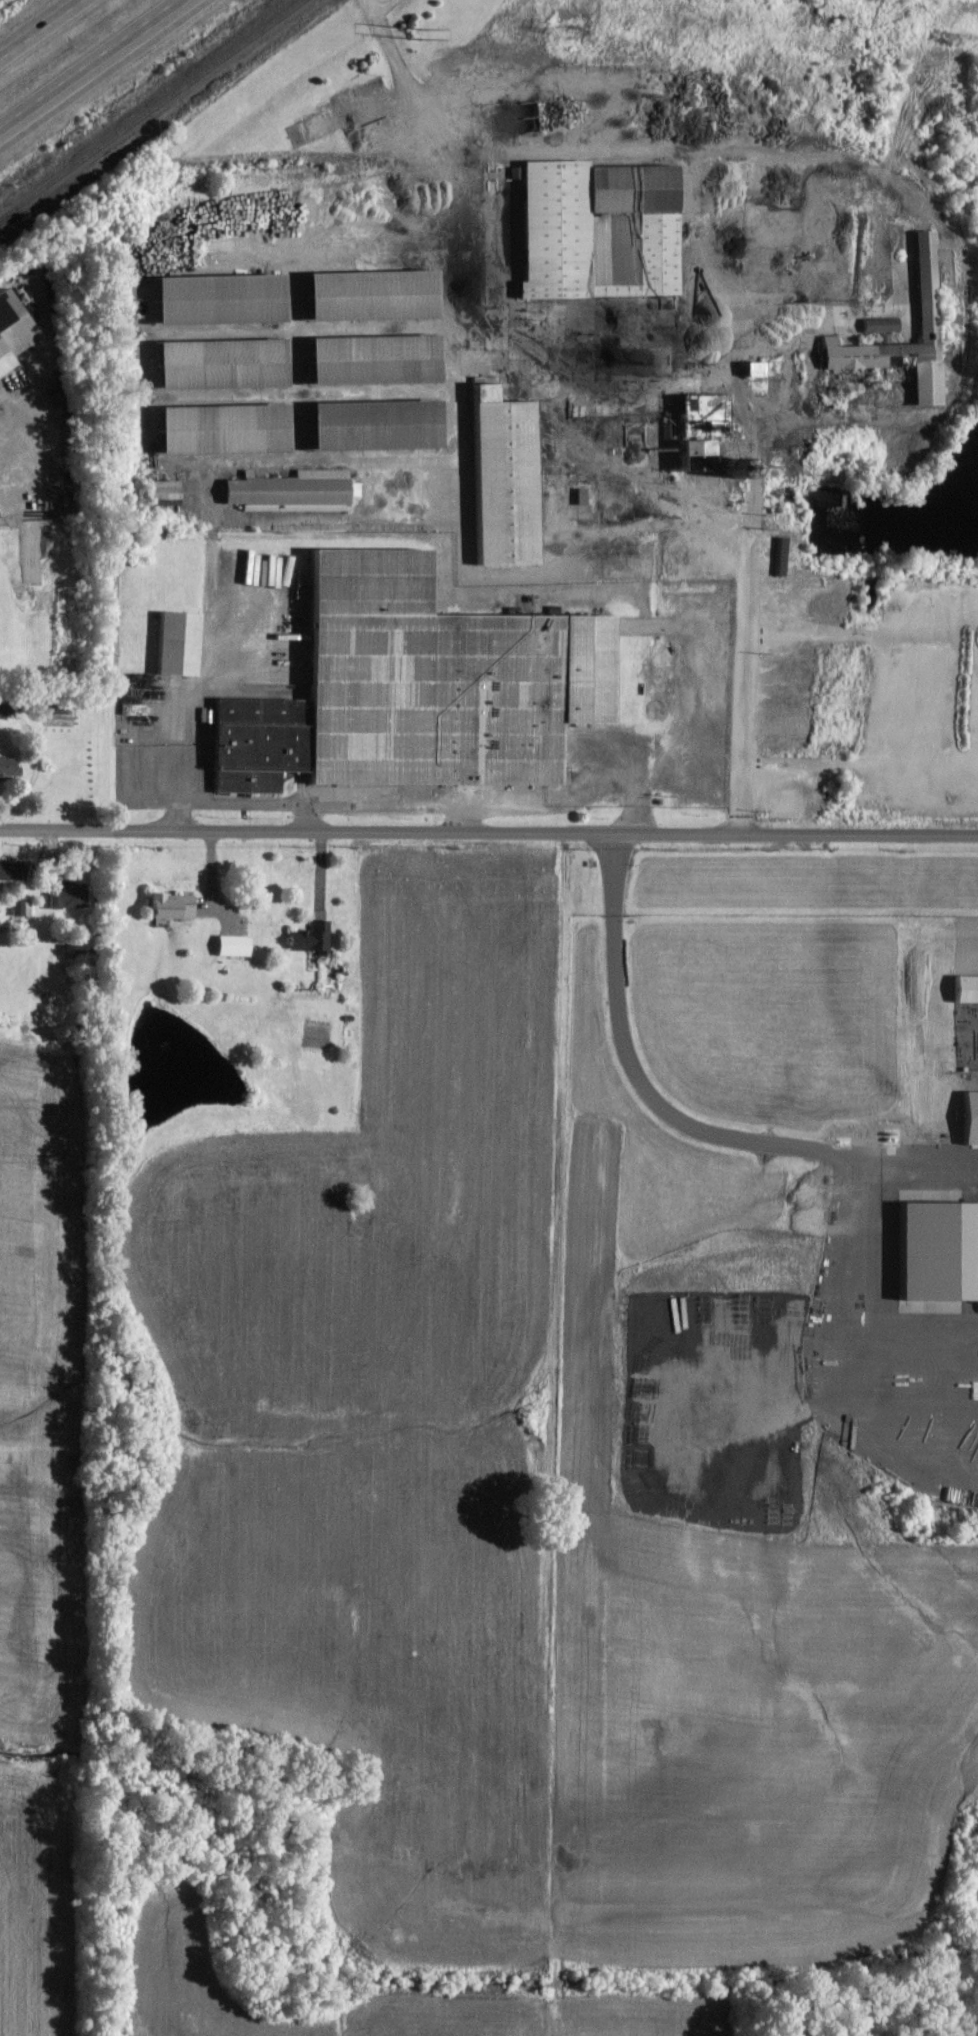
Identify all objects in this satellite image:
road: (44, 32)
road: (91, 64)
railway: (152, 108)
building: (594, 231)
building: (924, 282)
building: (364, 296)
building: (210, 300)
building: (880, 325)
building: (16, 331)
building: (365, 361)
building: (212, 365)
building: (751, 370)
road: (730, 385)
building: (367, 426)
building: (214, 430)
road: (571, 431)
building: (685, 457)
building: (498, 479)
building: (159, 492)
building: (176, 643)
building: (12, 766)
road: (316, 812)
road: (302, 821)
road: (489, 832)
building: (14, 870)
building: (67, 897)
building: (166, 906)
building: (24, 908)
building: (310, 938)
building: (233, 945)
building: (964, 989)
building: (967, 1117)
road: (677, 1120)
building: (934, 1251)

